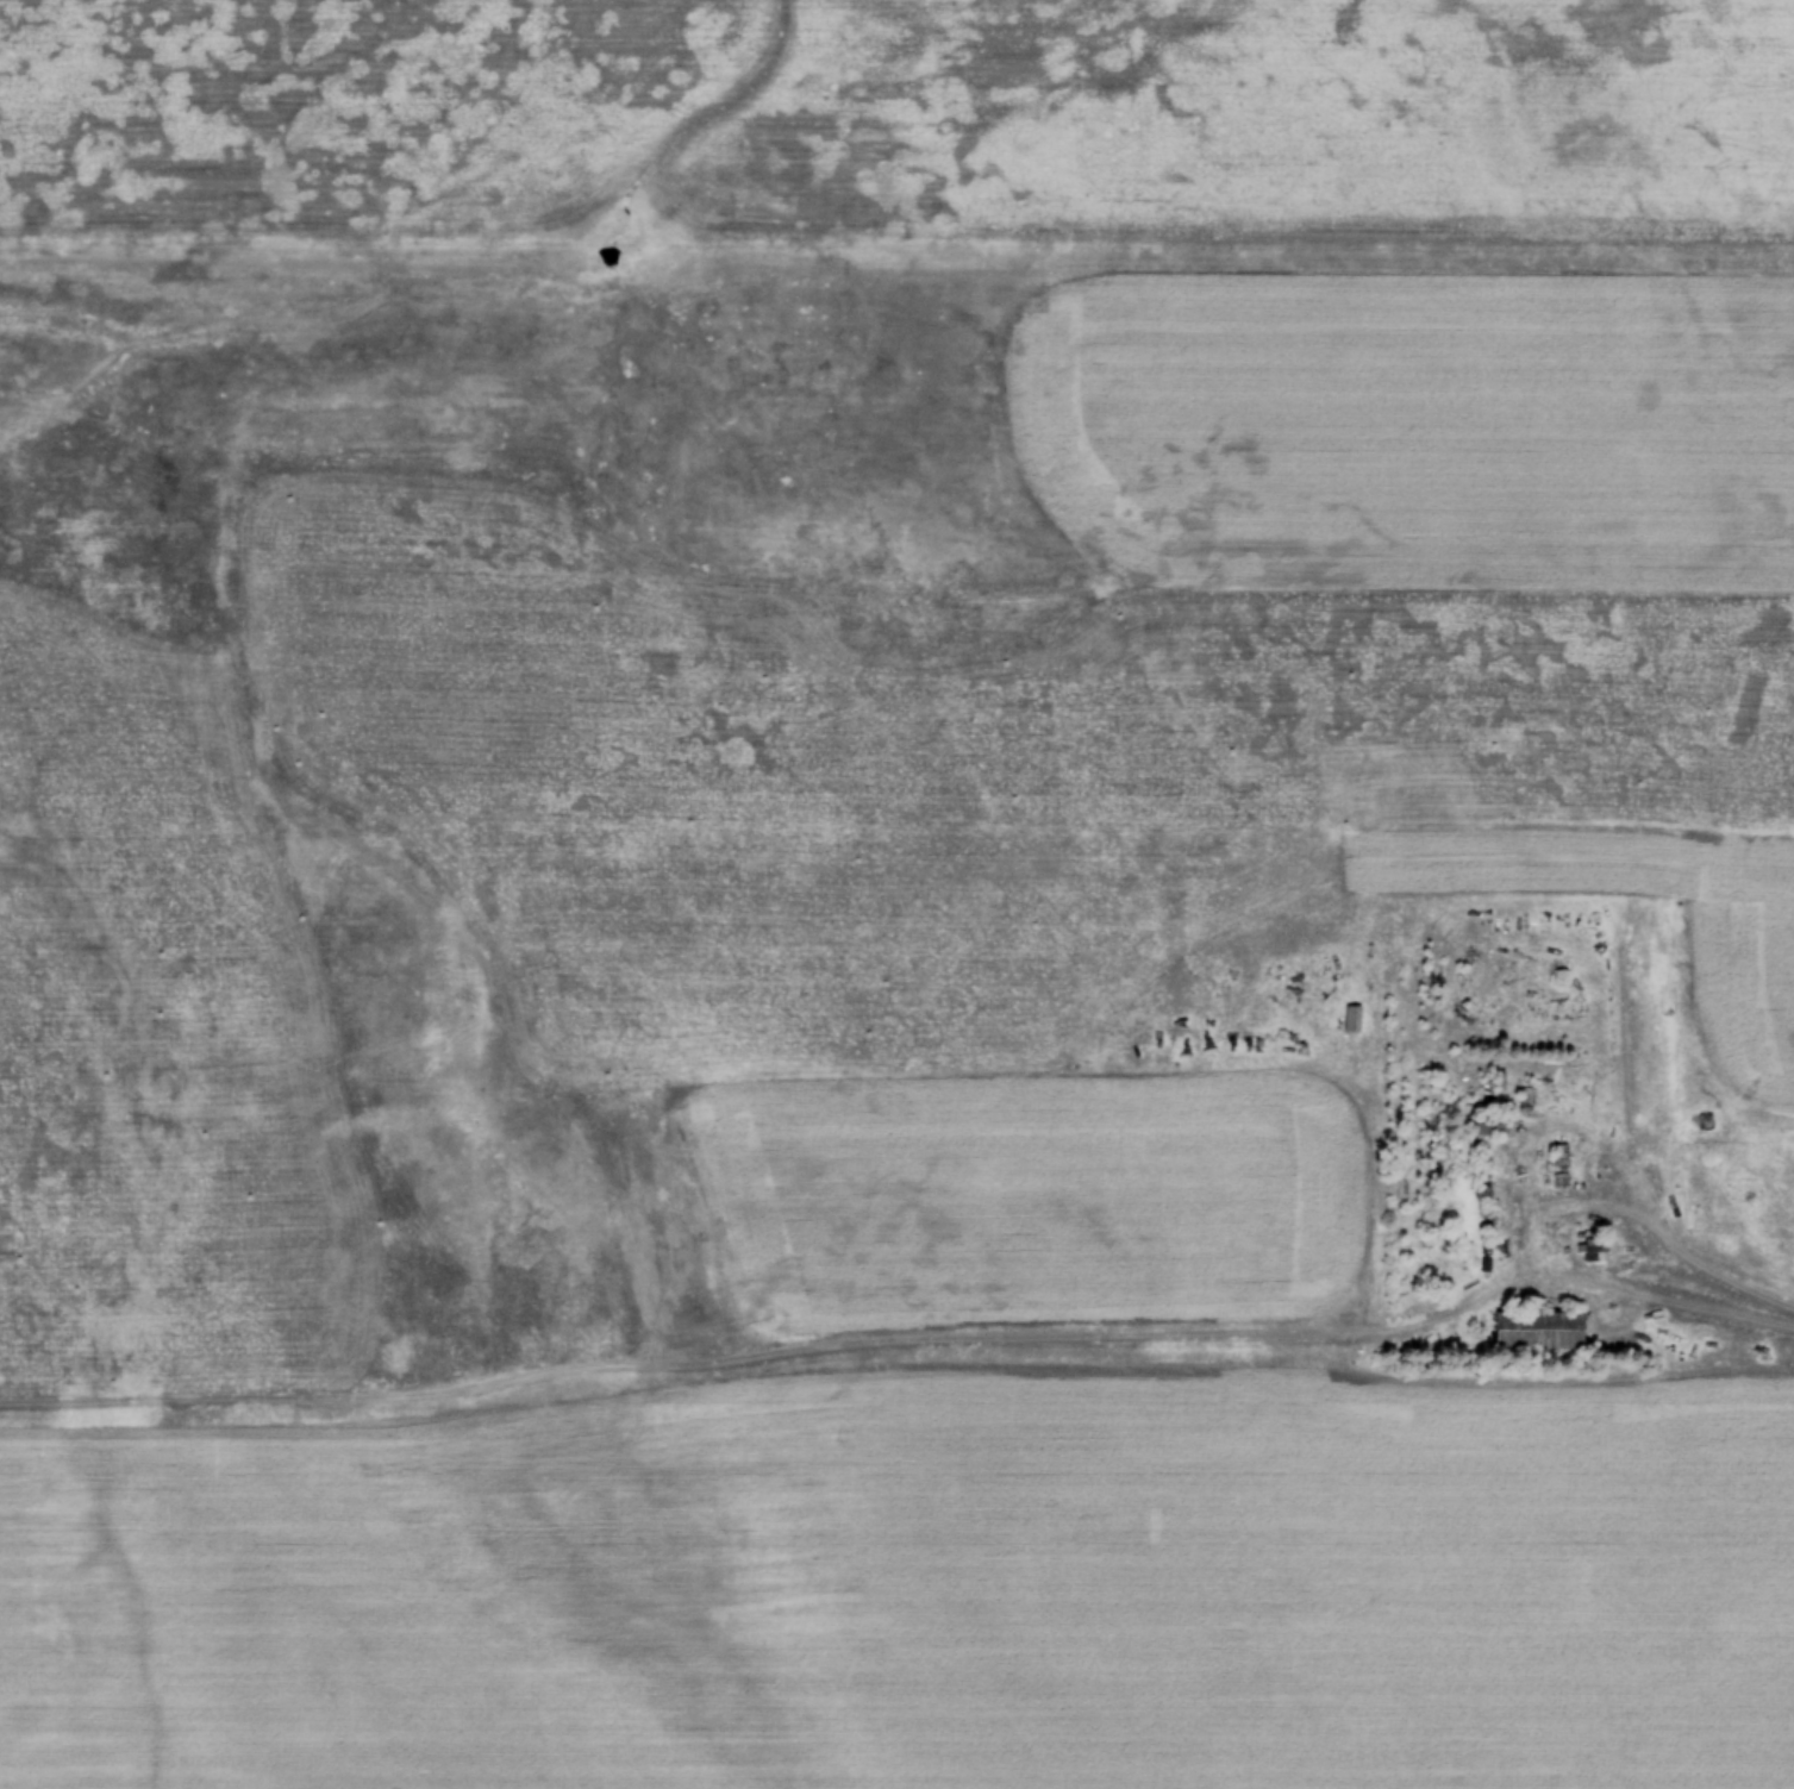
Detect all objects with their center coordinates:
building: (1354, 1020)
building: (1542, 1333)

